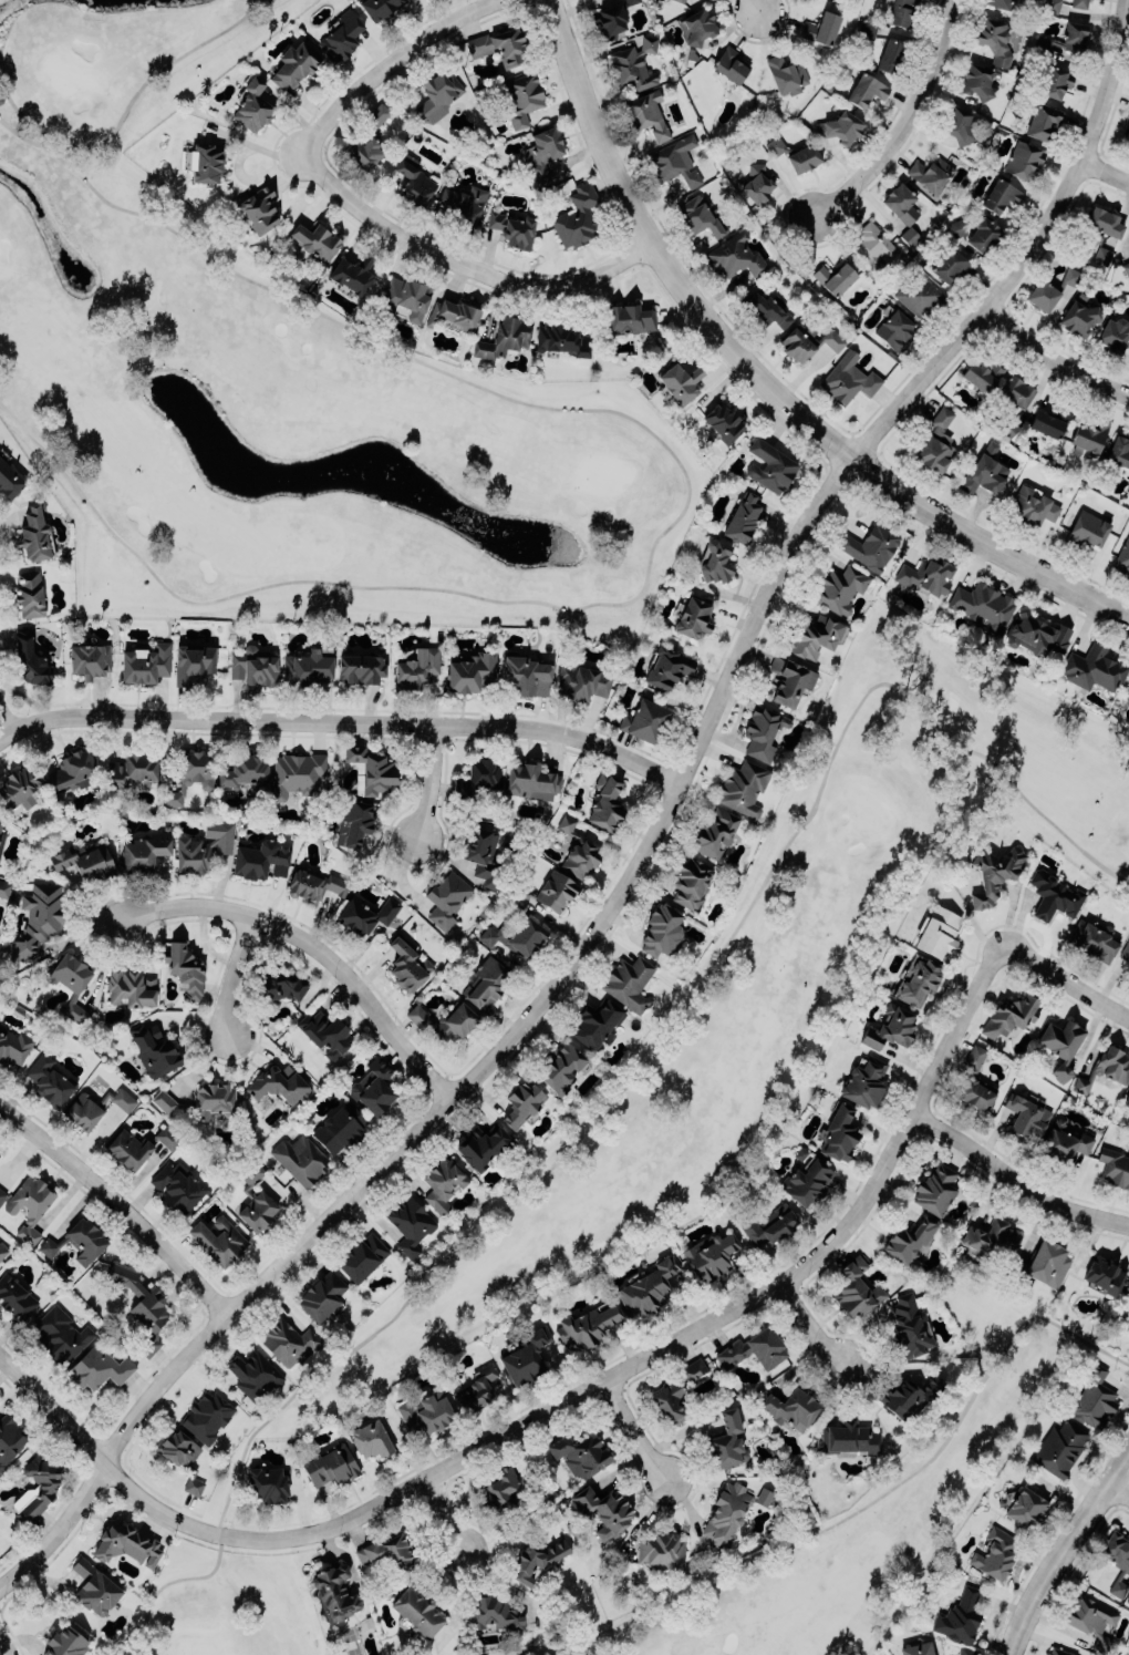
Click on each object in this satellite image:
building: (676, 0)
building: (999, 2)
building: (1077, 2)
building: (1052, 6)
building: (379, 7)
road: (758, 8)
building: (902, 11)
building: (609, 18)
building: (696, 24)
building: (821, 27)
building: (867, 30)
building: (341, 35)
building: (1064, 37)
building: (993, 40)
building: (499, 45)
building: (890, 55)
road: (394, 61)
building: (293, 62)
building: (632, 63)
building: (732, 64)
building: (786, 74)
building: (976, 79)
building: (1055, 80)
building: (866, 89)
building: (435, 94)
building: (521, 95)
building: (251, 104)
road: (125, 109)
building: (646, 111)
building: (1042, 120)
road: (904, 122)
building: (959, 124)
building: (839, 126)
building: (1127, 133)
building: (369, 138)
building: (775, 145)
building: (543, 152)
building: (804, 157)
building: (1023, 158)
building: (205, 160)
building: (674, 160)
road: (1105, 169)
building: (931, 173)
building: (413, 178)
building: (755, 182)
building: (1001, 194)
building: (900, 201)
building: (464, 203)
building: (258, 209)
building: (576, 216)
building: (700, 216)
building: (1104, 222)
building: (514, 227)
building: (956, 227)
building: (909, 235)
building: (983, 235)
building: (314, 239)
building: (873, 246)
building: (734, 255)
building: (1101, 256)
road: (467, 258)
building: (951, 264)
building: (1126, 267)
building: (351, 271)
building: (833, 276)
building: (1071, 277)
building: (919, 295)
building: (1042, 295)
building: (405, 297)
building: (767, 309)
building: (459, 312)
building: (1078, 316)
building: (629, 317)
building: (894, 329)
building: (1115, 335)
building: (560, 337)
building: (808, 341)
road: (1054, 353)
building: (982, 374)
building: (847, 377)
road: (762, 379)
building: (679, 380)
park: (279, 388)
building: (1015, 390)
building: (723, 421)
building: (1046, 422)
building: (1087, 435)
building: (936, 441)
building: (1118, 448)
building: (769, 465)
building: (984, 470)
building: (9, 480)
building: (1032, 505)
road: (682, 511)
building: (740, 518)
building: (1088, 527)
building: (33, 533)
building: (869, 545)
building: (1122, 557)
building: (715, 559)
building: (925, 575)
building: (838, 588)
building: (29, 593)
building: (982, 605)
building: (692, 617)
building: (1036, 635)
building: (814, 636)
building: (89, 658)
building: (30, 660)
building: (193, 661)
building: (145, 662)
building: (253, 666)
building: (361, 667)
building: (416, 667)
building: (666, 667)
building: (1094, 667)
building: (307, 668)
building: (472, 670)
building: (524, 672)
building: (583, 679)
building: (789, 679)
building: (1127, 692)
road: (6, 719)
building: (644, 720)
road: (349, 721)
building: (763, 731)
road: (6, 734)
building: (372, 767)
building: (134, 768)
building: (72, 769)
building: (245, 769)
building: (296, 773)
building: (189, 775)
building: (477, 777)
building: (532, 777)
road: (431, 781)
building: (743, 788)
building: (19, 789)
building: (605, 804)
building: (0, 822)
building: (353, 822)
building: (715, 832)
building: (1, 839)
building: (204, 846)
road: (645, 846)
building: (145, 850)
building: (578, 850)
building: (483, 854)
building: (260, 859)
building: (84, 860)
building: (993, 873)
building: (690, 882)
building: (314, 884)
building: (3, 887)
building: (545, 890)
building: (1054, 895)
building: (446, 897)
building: (365, 914)
building: (38, 919)
building: (662, 931)
building: (938, 932)
building: (517, 935)
building: (1092, 938)
road: (312, 945)
building: (1125, 950)
road: (991, 962)
building: (408, 965)
building: (185, 968)
road: (232, 972)
building: (629, 980)
building: (70, 981)
building: (919, 981)
building: (486, 983)
building: (276, 985)
building: (130, 988)
building: (1009, 1015)
building: (445, 1020)
building: (594, 1022)
building: (890, 1027)
building: (324, 1032)
building: (1060, 1044)
building: (13, 1045)
building: (154, 1049)
park: (700, 1051)
building: (974, 1056)
building: (561, 1067)
building: (1105, 1068)
road: (631, 1078)
building: (49, 1079)
building: (863, 1081)
building: (278, 1085)
building: (374, 1087)
building: (1126, 1098)
building: (214, 1100)
building: (164, 1101)
building: (521, 1102)
building: (94, 1108)
building: (1026, 1114)
building: (340, 1127)
building: (839, 1132)
building: (1064, 1140)
building: (483, 1145)
building: (135, 1147)
building: (0, 1153)
building: (300, 1158)
building: (1114, 1165)
building: (806, 1180)
building: (442, 1183)
building: (176, 1185)
building: (934, 1190)
building: (2, 1193)
building: (255, 1200)
road: (118, 1202)
building: (29, 1205)
building: (410, 1223)
building: (768, 1225)
building: (992, 1236)
building: (218, 1240)
building: (77, 1241)
building: (910, 1241)
building: (2, 1250)
building: (709, 1253)
building: (362, 1256)
building: (1040, 1265)
building: (1102, 1275)
building: (1127, 1284)
building: (650, 1286)
building: (856, 1288)
building: (321, 1295)
building: (15, 1297)
building: (142, 1306)
building: (589, 1323)
road: (810, 1324)
building: (909, 1326)
building: (63, 1335)
building: (288, 1342)
building: (753, 1349)
building: (526, 1357)
building: (100, 1367)
building: (693, 1368)
building: (253, 1374)
road: (583, 1388)
building: (477, 1389)
building: (909, 1397)
building: (1094, 1399)
building: (669, 1400)
building: (788, 1406)
building: (426, 1411)
building: (206, 1416)
road: (631, 1430)
building: (849, 1437)
building: (370, 1438)
building: (10, 1439)
building: (726, 1441)
building: (178, 1447)
building: (1059, 1447)
building: (580, 1453)
building: (331, 1466)
building: (46, 1484)
building: (268, 1484)
building: (193, 1486)
building: (499, 1489)
road: (1118, 1489)
building: (763, 1495)
road: (862, 1505)
building: (1025, 1507)
park: (866, 1508)
building: (603, 1509)
building: (725, 1513)
road: (443, 1514)
road: (508, 1531)
building: (126, 1545)
road: (1061, 1548)
building: (662, 1550)
building: (389, 1551)
building: (995, 1552)
building: (537, 1559)
building: (1117, 1559)
building: (93, 1586)
building: (334, 1592)
building: (1127, 1600)
building: (416, 1611)
building: (495, 1612)
building: (959, 1616)
building: (1091, 1618)
building: (65, 1643)
road: (6, 1644)
building: (916, 1649)
building: (967, 1651)
building: (1056, 1653)

